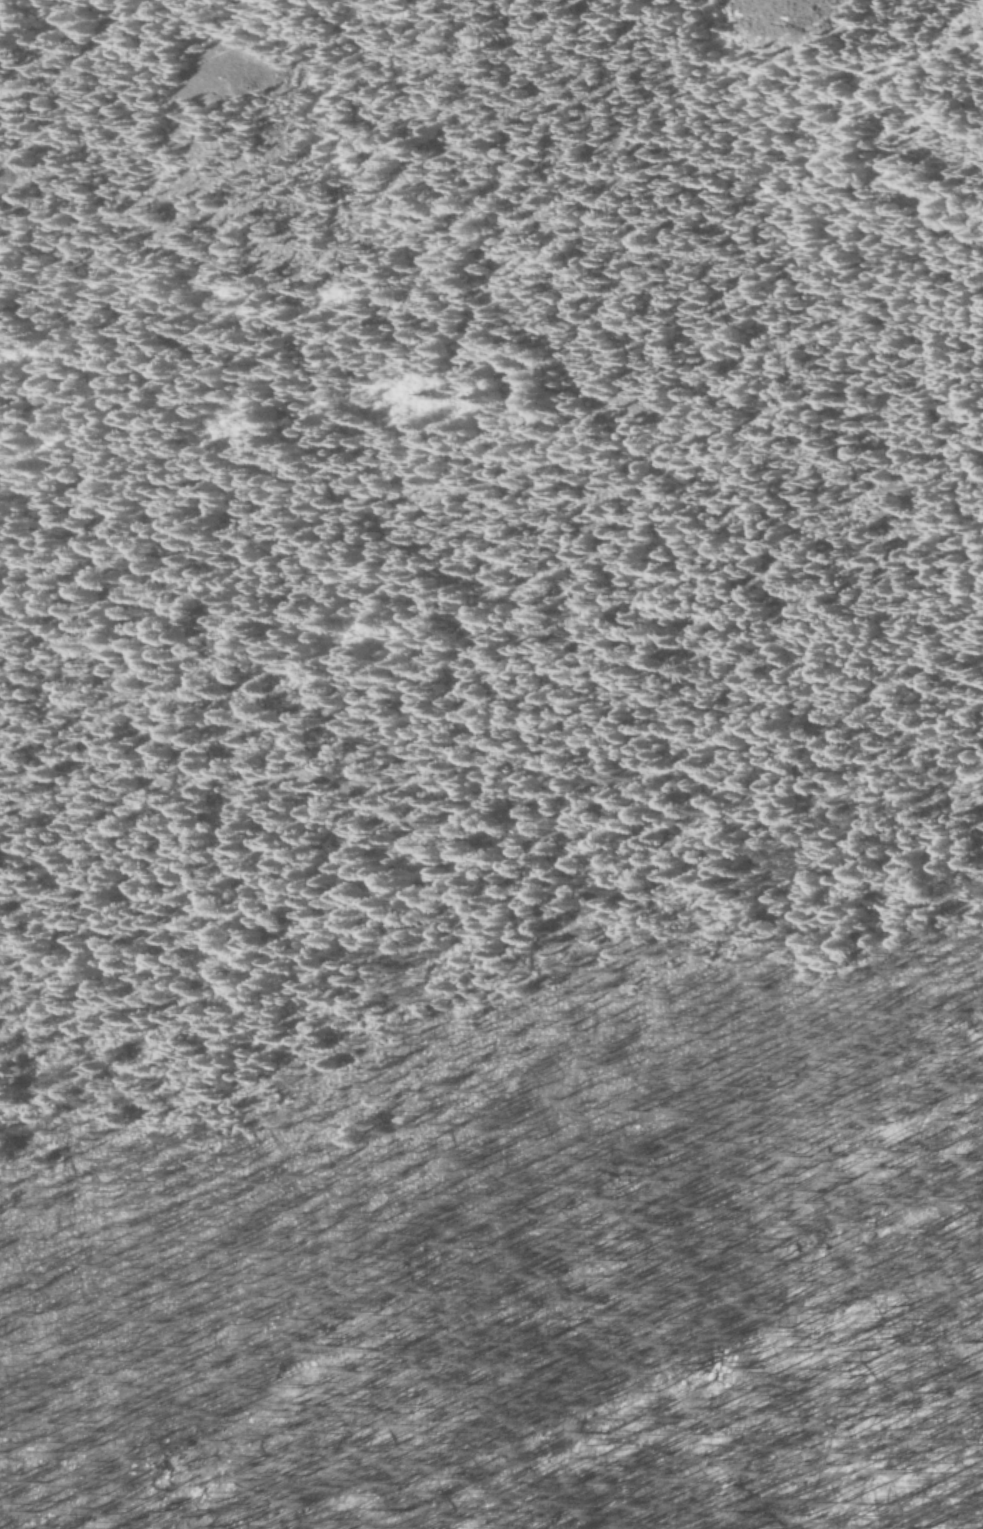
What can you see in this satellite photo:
road: (50, 82)
road: (535, 465)

